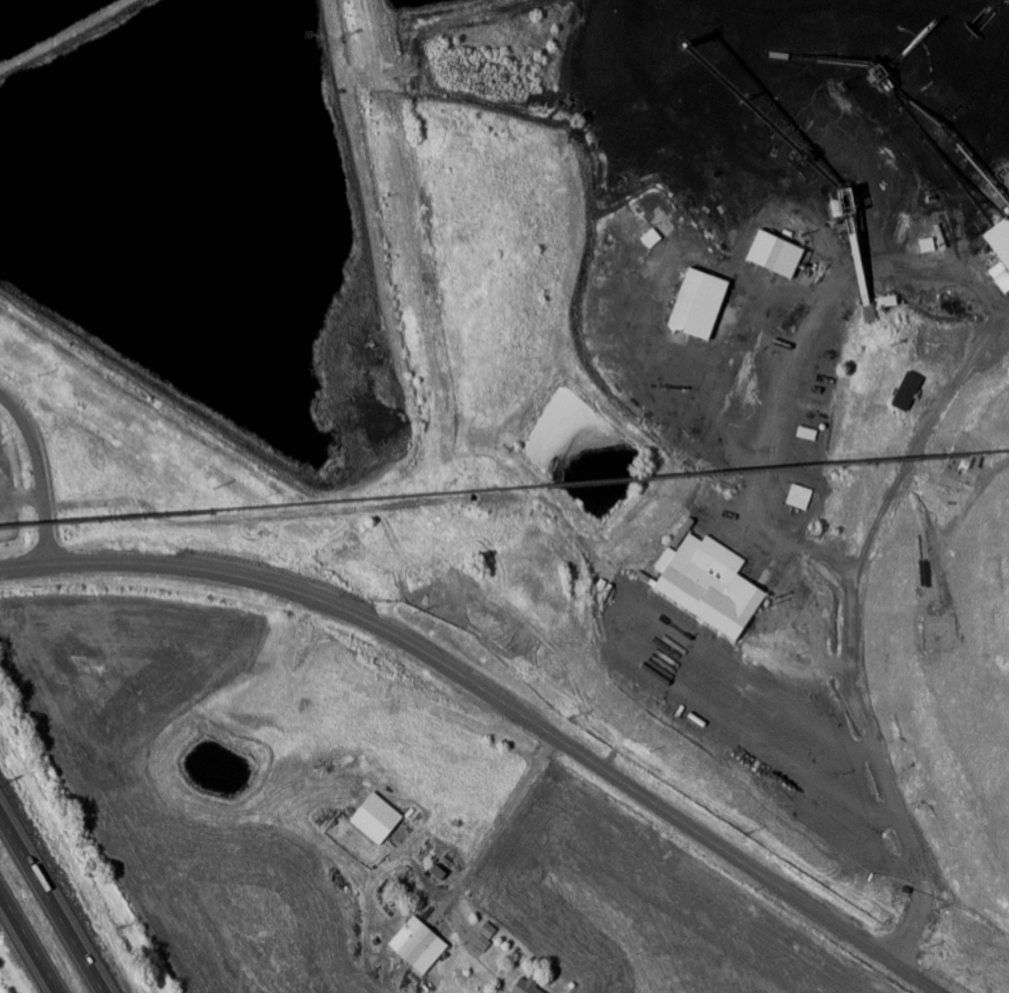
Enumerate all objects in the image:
building: (652, 239)
building: (928, 246)
building: (999, 253)
building: (776, 255)
building: (699, 305)
quarry: (737, 375)
building: (908, 392)
building: (808, 433)
road: (38, 471)
building: (800, 497)
building: (709, 583)
road: (851, 626)
road: (497, 700)
building: (376, 818)
road: (502, 822)
building: (392, 894)
road: (52, 902)
building: (482, 943)
road: (27, 944)
building: (418, 944)
building: (527, 986)

